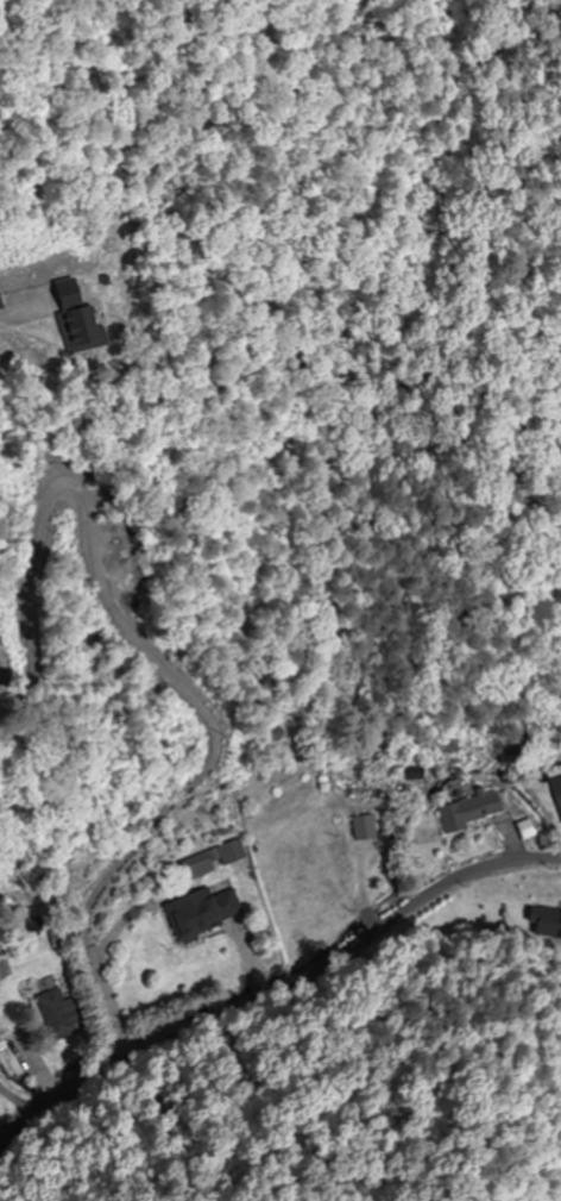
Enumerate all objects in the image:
building: (557, 789)
building: (481, 807)
building: (365, 827)
building: (213, 859)
building: (319, 872)
building: (203, 912)
building: (544, 925)
building: (0, 981)
building: (58, 1015)
road: (315, 1033)

